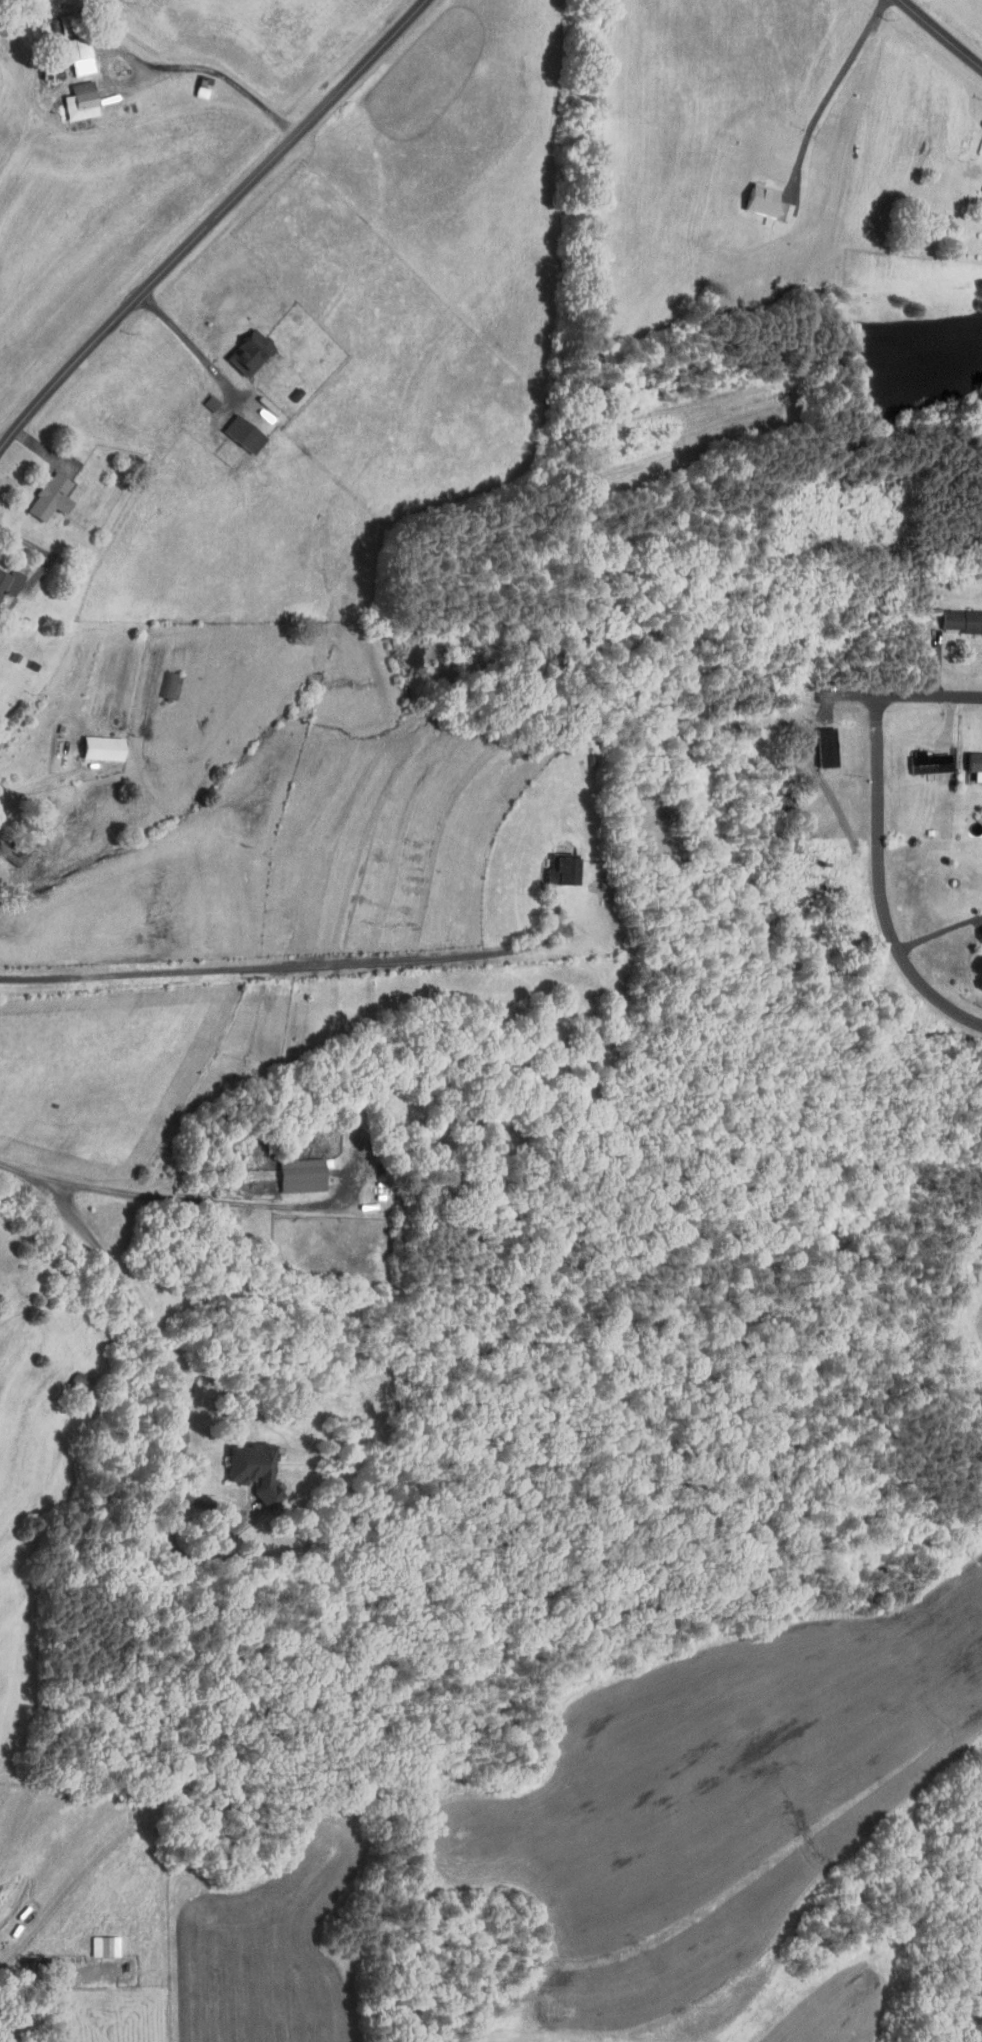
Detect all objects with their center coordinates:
road: (944, 30)
building: (71, 50)
road: (214, 73)
road: (830, 89)
building: (72, 96)
building: (979, 181)
road: (209, 220)
building: (979, 258)
road: (190, 341)
building: (240, 347)
building: (234, 429)
building: (41, 492)
road: (40, 551)
building: (5, 576)
building: (958, 615)
road: (929, 695)
building: (93, 743)
building: (914, 759)
building: (970, 760)
road: (48, 778)
building: (11, 844)
building: (554, 864)
road: (880, 881)
road: (940, 933)
road: (291, 968)
building: (292, 1169)
road: (162, 1200)
road: (163, 1346)
building: (67, 1374)
building: (245, 1465)
building: (95, 1940)

